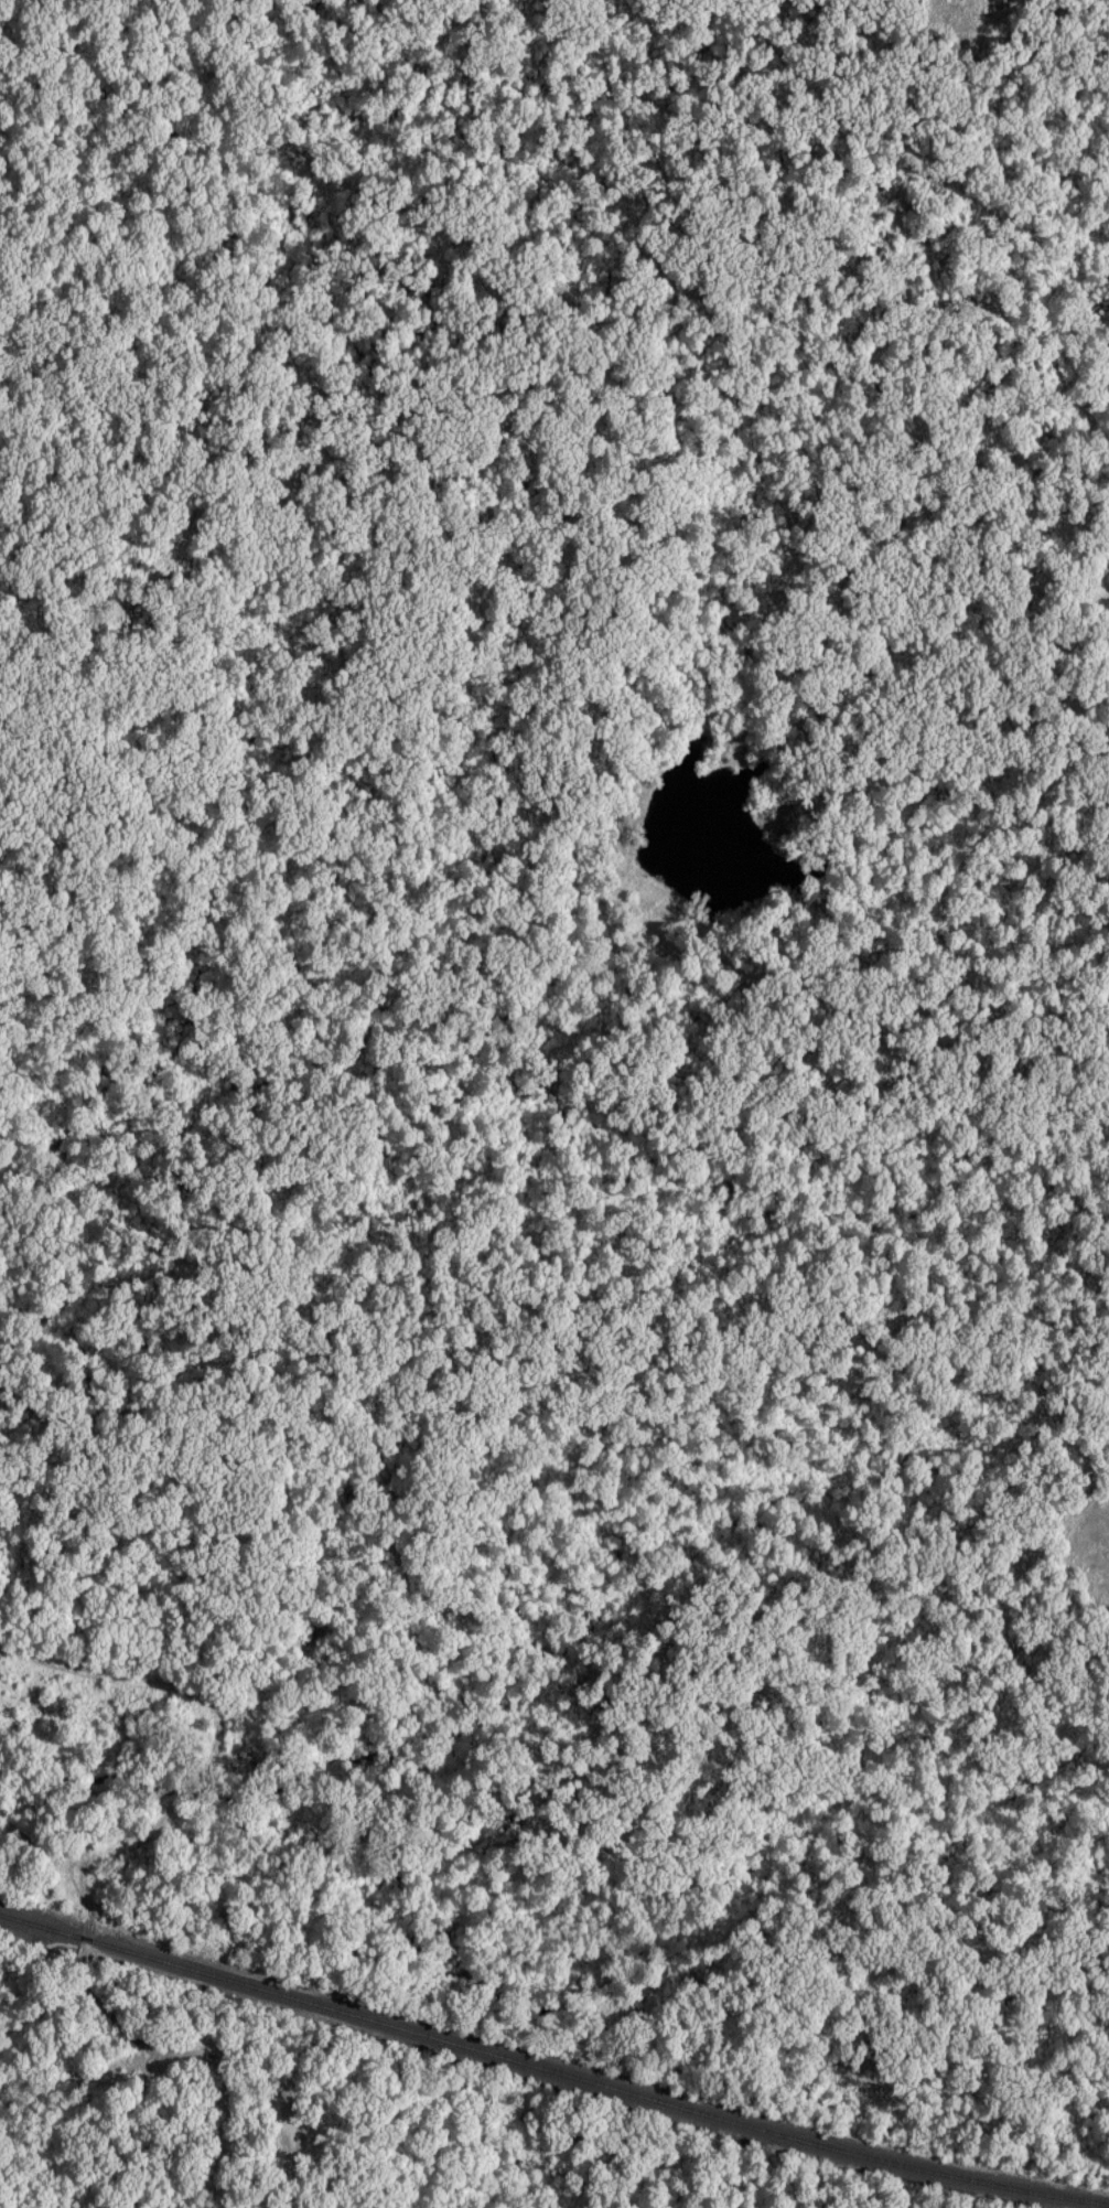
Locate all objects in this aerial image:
railway: (551, 2071)

